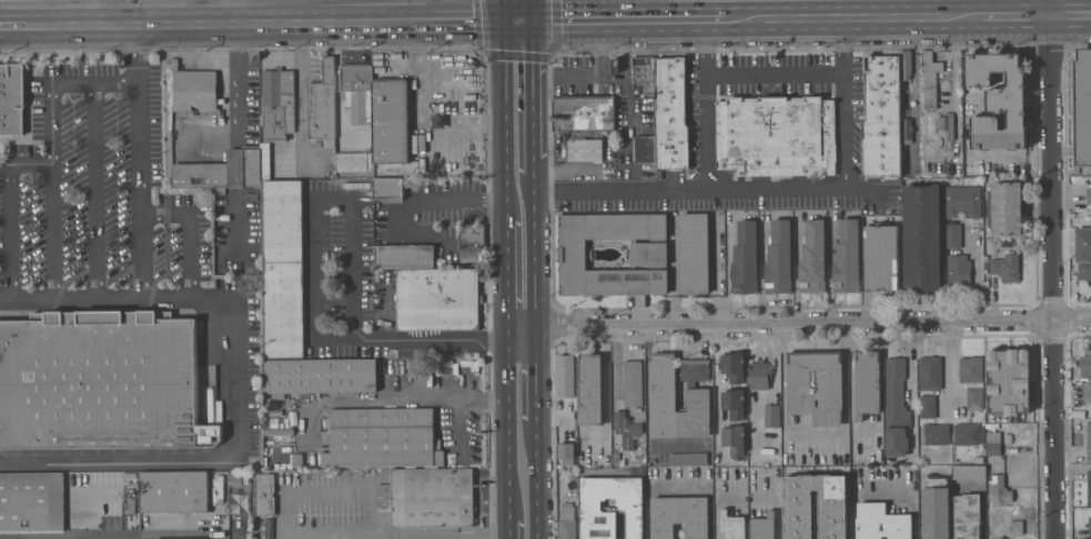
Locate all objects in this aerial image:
road: (940, 7)
road: (967, 7)
road: (769, 8)
road: (849, 8)
road: (876, 8)
road: (594, 9)
road: (666, 9)
road: (716, 9)
road: (505, 10)
road: (535, 10)
road: (219, 11)
road: (1071, 12)
road: (883, 14)
road: (644, 18)
road: (684, 18)
road: (709, 18)
road: (565, 19)
road: (598, 19)
road: (613, 19)
road: (458, 20)
traffic signals: (506, 20)
road: (521, 20)
traffic signals: (536, 20)
road: (220, 22)
road: (14, 26)
road: (138, 45)
road: (603, 49)
road: (951, 60)
building: (906, 65)
building: (643, 68)
road: (775, 78)
road: (608, 80)
building: (930, 80)
road: (125, 83)
road: (82, 84)
building: (193, 89)
road: (536, 89)
building: (356, 92)
road: (300, 94)
building: (11, 99)
building: (999, 100)
building: (276, 103)
building: (322, 103)
road: (703, 104)
building: (1082, 106)
building: (584, 112)
building: (671, 114)
road: (416, 115)
building: (881, 116)
road: (506, 118)
building: (390, 121)
building: (946, 125)
building: (907, 130)
building: (776, 135)
building: (931, 145)
building: (645, 149)
building: (585, 150)
road: (1010, 159)
building: (265, 161)
road: (1053, 161)
building: (354, 162)
road: (30, 164)
road: (536, 165)
building: (221, 171)
road: (138, 183)
building: (387, 187)
road: (775, 192)
road: (51, 193)
road: (92, 193)
building: (1089, 195)
road: (463, 197)
building: (962, 201)
building: (1007, 209)
road: (8, 233)
road: (189, 233)
building: (952, 236)
building: (921, 237)
building: (472, 242)
road: (536, 252)
building: (1083, 252)
building: (648, 253)
building: (694, 253)
building: (404, 256)
building: (745, 257)
building: (778, 257)
building: (812, 257)
building: (847, 257)
building: (880, 257)
building: (1006, 267)
building: (283, 268)
building: (958, 269)
road: (507, 274)
road: (317, 284)
road: (976, 284)
building: (437, 298)
road: (6, 302)
road: (124, 302)
road: (1073, 321)
road: (781, 326)
building: (733, 366)
building: (1084, 367)
building: (695, 370)
building: (930, 373)
building: (320, 375)
road: (536, 375)
building: (759, 375)
road: (235, 378)
building: (971, 379)
building: (100, 382)
building: (829, 382)
building: (1008, 382)
building: (633, 383)
building: (867, 383)
building: (590, 389)
building: (1088, 393)
building: (565, 394)
road: (392, 397)
building: (675, 403)
building: (734, 403)
building: (927, 406)
building: (896, 408)
building: (771, 416)
building: (989, 426)
road: (508, 427)
building: (626, 428)
road: (1058, 430)
road: (814, 431)
building: (936, 434)
building: (968, 434)
building: (382, 438)
building: (1008, 438)
building: (734, 439)
building: (1089, 440)
building: (992, 443)
building: (566, 450)
building: (616, 458)
building: (687, 458)
road: (118, 459)
building: (979, 459)
building: (969, 471)
road: (536, 479)
building: (218, 481)
building: (1089, 486)
building: (999, 489)
building: (173, 491)
building: (264, 495)
building: (428, 497)
building: (31, 501)
building: (596, 508)
road: (717, 508)
building: (936, 508)
building: (798, 510)
building: (679, 516)
building: (968, 516)
building: (567, 522)
building: (881, 522)
building: (731, 526)
building: (762, 527)
building: (1016, 527)
building: (1089, 528)
road: (509, 531)
road: (311, 535)
building: (192, 538)
road: (482, 538)
building: (1000, 538)

